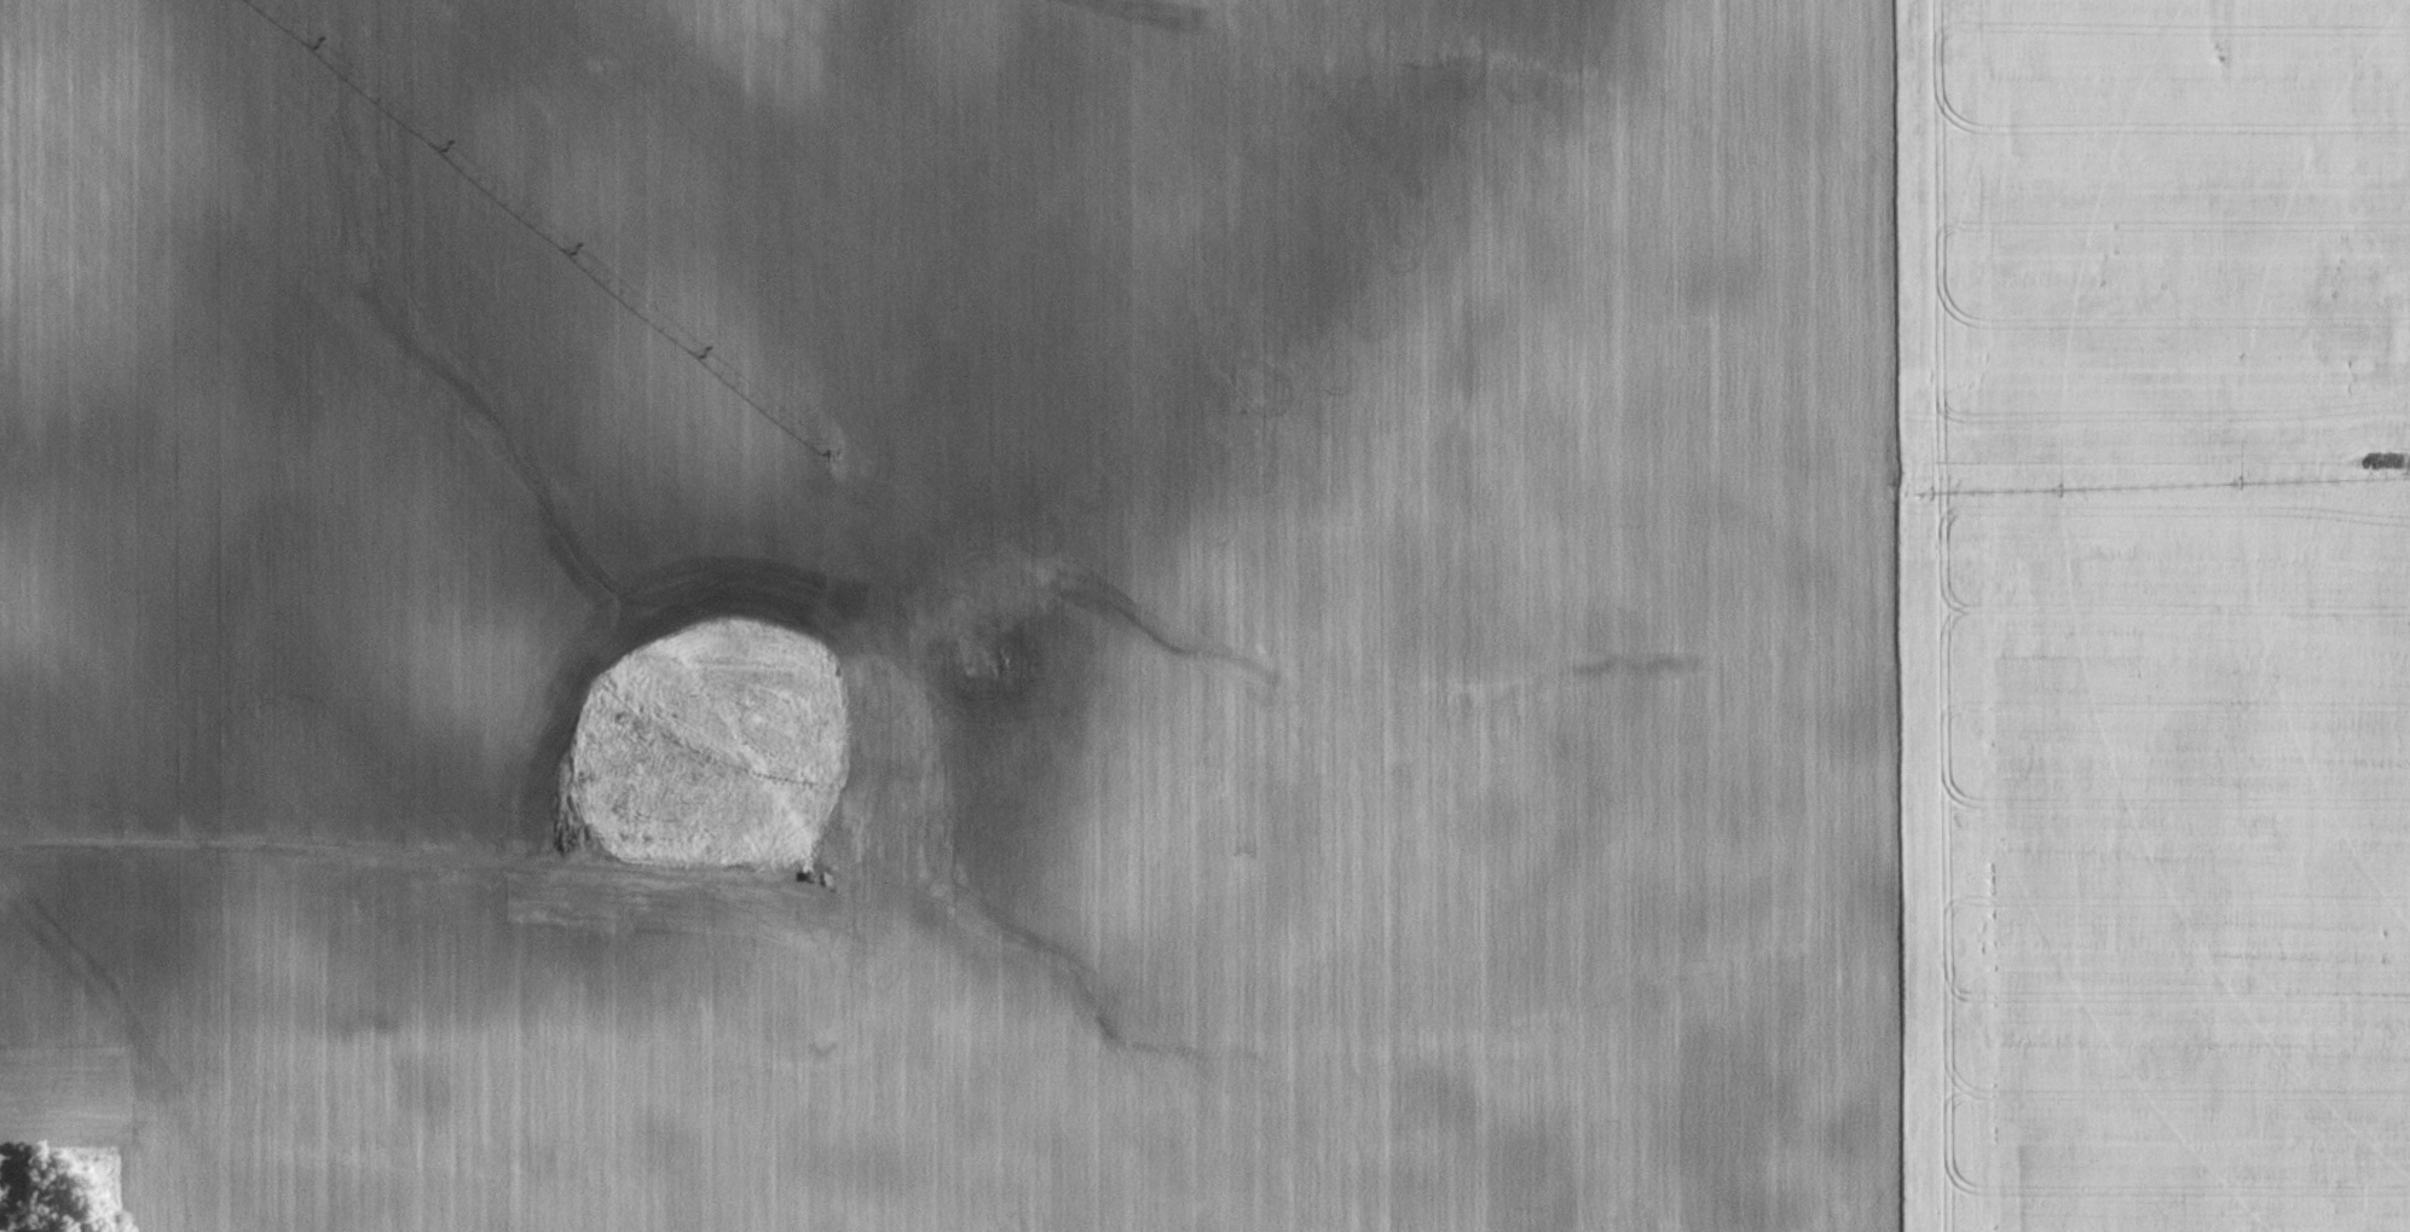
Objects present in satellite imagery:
crop: (1208, 613)

